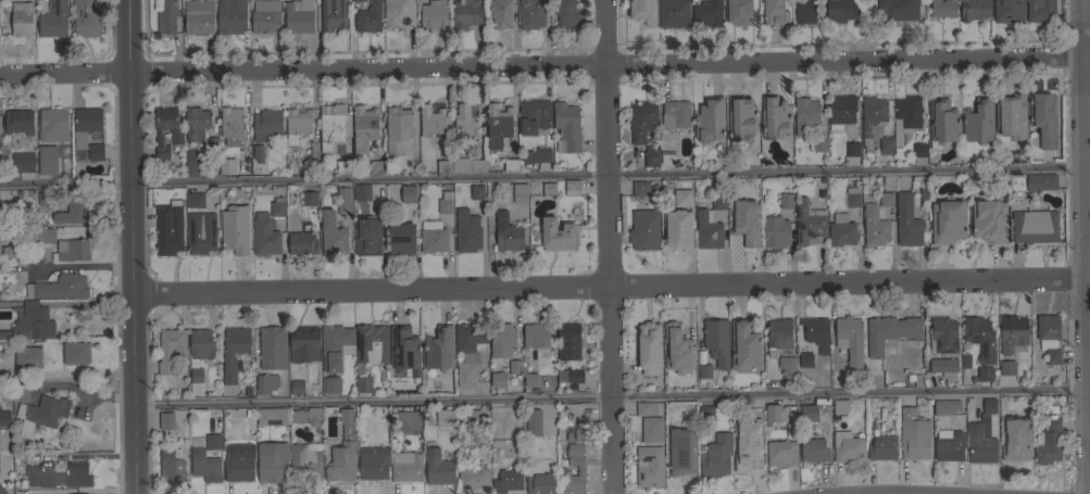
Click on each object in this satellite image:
building: (358, 0)
building: (40, 1)
building: (899, 9)
building: (942, 9)
building: (1007, 9)
building: (972, 10)
building: (1040, 10)
building: (642, 11)
building: (839, 11)
building: (1089, 11)
building: (738, 12)
building: (775, 12)
building: (804, 12)
building: (465, 13)
building: (500, 13)
building: (673, 13)
building: (709, 13)
building: (333, 14)
building: (399, 14)
building: (434, 14)
building: (530, 14)
building: (566, 14)
building: (166, 16)
building: (198, 16)
building: (265, 16)
building: (299, 16)
building: (87, 17)
building: (228, 17)
building: (368, 17)
building: (21, 18)
building: (53, 20)
road: (541, 66)
road: (1087, 79)
building: (840, 111)
building: (675, 114)
building: (805, 114)
building: (534, 116)
building: (905, 116)
building: (1011, 116)
building: (775, 117)
building: (872, 117)
building: (431, 118)
building: (1043, 118)
building: (54, 119)
building: (641, 121)
building: (710, 121)
building: (741, 121)
building: (978, 121)
building: (18, 122)
building: (942, 122)
building: (196, 123)
building: (464, 123)
building: (266, 124)
building: (297, 124)
building: (86, 125)
building: (498, 125)
building: (231, 126)
building: (331, 127)
building: (566, 127)
building: (364, 128)
building: (398, 128)
building: (176, 139)
building: (213, 142)
building: (818, 144)
building: (885, 145)
road: (1088, 148)
building: (852, 149)
building: (176, 150)
building: (919, 150)
building: (96, 152)
building: (259, 153)
building: (537, 155)
building: (652, 155)
building: (47, 160)
building: (666, 160)
building: (23, 162)
building: (191, 164)
building: (241, 164)
building: (467, 164)
building: (694, 164)
building: (511, 165)
building: (226, 166)
building: (343, 166)
building: (376, 166)
building: (444, 166)
road: (542, 175)
building: (822, 179)
building: (1040, 181)
building: (1014, 185)
building: (572, 188)
building: (639, 188)
building: (549, 189)
building: (362, 192)
building: (472, 193)
building: (519, 193)
building: (717, 193)
building: (752, 193)
building: (408, 194)
building: (924, 195)
building: (852, 197)
building: (310, 198)
building: (682, 198)
building: (46, 199)
building: (886, 199)
building: (195, 200)
road: (1088, 200)
building: (343, 201)
building: (786, 201)
building: (444, 203)
building: (478, 205)
building: (277, 207)
building: (72, 210)
road: (1087, 215)
building: (987, 219)
building: (906, 220)
building: (948, 220)
building: (807, 223)
building: (874, 226)
building: (1035, 226)
building: (740, 227)
building: (235, 228)
building: (677, 228)
building: (168, 229)
building: (295, 229)
building: (644, 229)
building: (707, 230)
building: (841, 230)
building: (466, 231)
building: (775, 231)
building: (508, 232)
building: (201, 233)
building: (265, 235)
building: (333, 235)
building: (556, 235)
building: (43, 236)
building: (367, 236)
building: (433, 237)
building: (401, 239)
building: (303, 241)
road: (133, 246)
road: (607, 246)
building: (71, 250)
building: (10, 252)
building: (2, 268)
road: (1089, 280)
road: (610, 287)
building: (59, 288)
building: (29, 324)
road: (1089, 330)
building: (816, 332)
building: (889, 332)
building: (1012, 332)
building: (502, 334)
building: (779, 334)
building: (943, 334)
building: (536, 335)
building: (679, 335)
building: (979, 337)
building: (1049, 337)
building: (849, 339)
building: (717, 341)
building: (567, 342)
building: (303, 343)
building: (371, 343)
building: (201, 344)
building: (744, 344)
building: (336, 346)
building: (272, 347)
building: (170, 349)
building: (649, 349)
building: (234, 351)
building: (404, 352)
building: (439, 352)
building: (468, 352)
building: (76, 353)
building: (27, 357)
building: (701, 357)
building: (805, 359)
building: (192, 360)
building: (965, 360)
building: (688, 365)
building: (192, 366)
building: (943, 366)
building: (1006, 367)
building: (788, 368)
building: (515, 370)
building: (705, 371)
building: (995, 371)
building: (671, 372)
building: (985, 373)
building: (575, 375)
road: (1089, 376)
building: (195, 377)
building: (910, 377)
building: (974, 378)
building: (498, 379)
building: (529, 380)
building: (524, 381)
building: (265, 382)
building: (330, 384)
building: (363, 384)
building: (296, 387)
building: (22, 392)
building: (248, 392)
road: (611, 398)
building: (839, 406)
building: (945, 407)
building: (646, 408)
building: (43, 413)
building: (247, 413)
building: (806, 413)
building: (705, 414)
building: (775, 414)
building: (272, 416)
building: (306, 416)
building: (444, 416)
building: (688, 416)
building: (473, 417)
building: (4, 418)
building: (404, 419)
building: (1003, 419)
building: (166, 420)
building: (756, 421)
building: (533, 422)
building: (346, 423)
building: (646, 431)
building: (573, 433)
building: (913, 434)
building: (981, 436)
building: (213, 442)
building: (1048, 442)
building: (949, 445)
building: (847, 446)
building: (881, 448)
building: (814, 451)
building: (680, 452)
building: (1016, 452)
building: (781, 453)
building: (746, 454)
building: (715, 456)
building: (305, 460)
building: (239, 461)
building: (272, 461)
building: (341, 461)
building: (373, 463)
building: (204, 465)
building: (405, 465)
building: (171, 466)
building: (649, 466)
building: (580, 467)
building: (438, 468)
building: (473, 474)
building: (74, 476)
building: (39, 477)
building: (506, 480)
building: (541, 484)
building: (2, 491)

